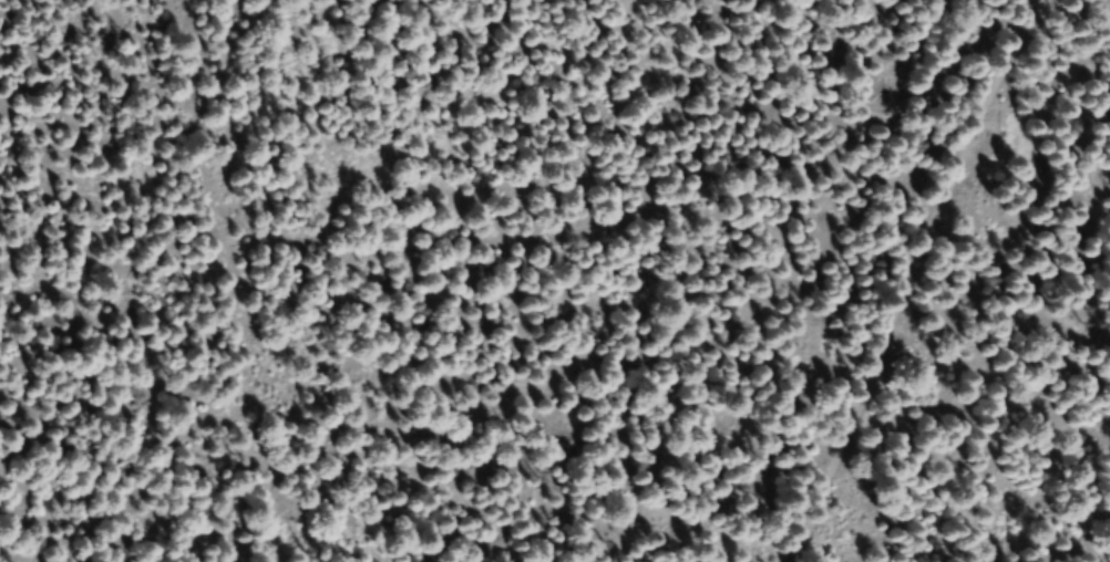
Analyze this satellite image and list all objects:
road: (908, 342)

